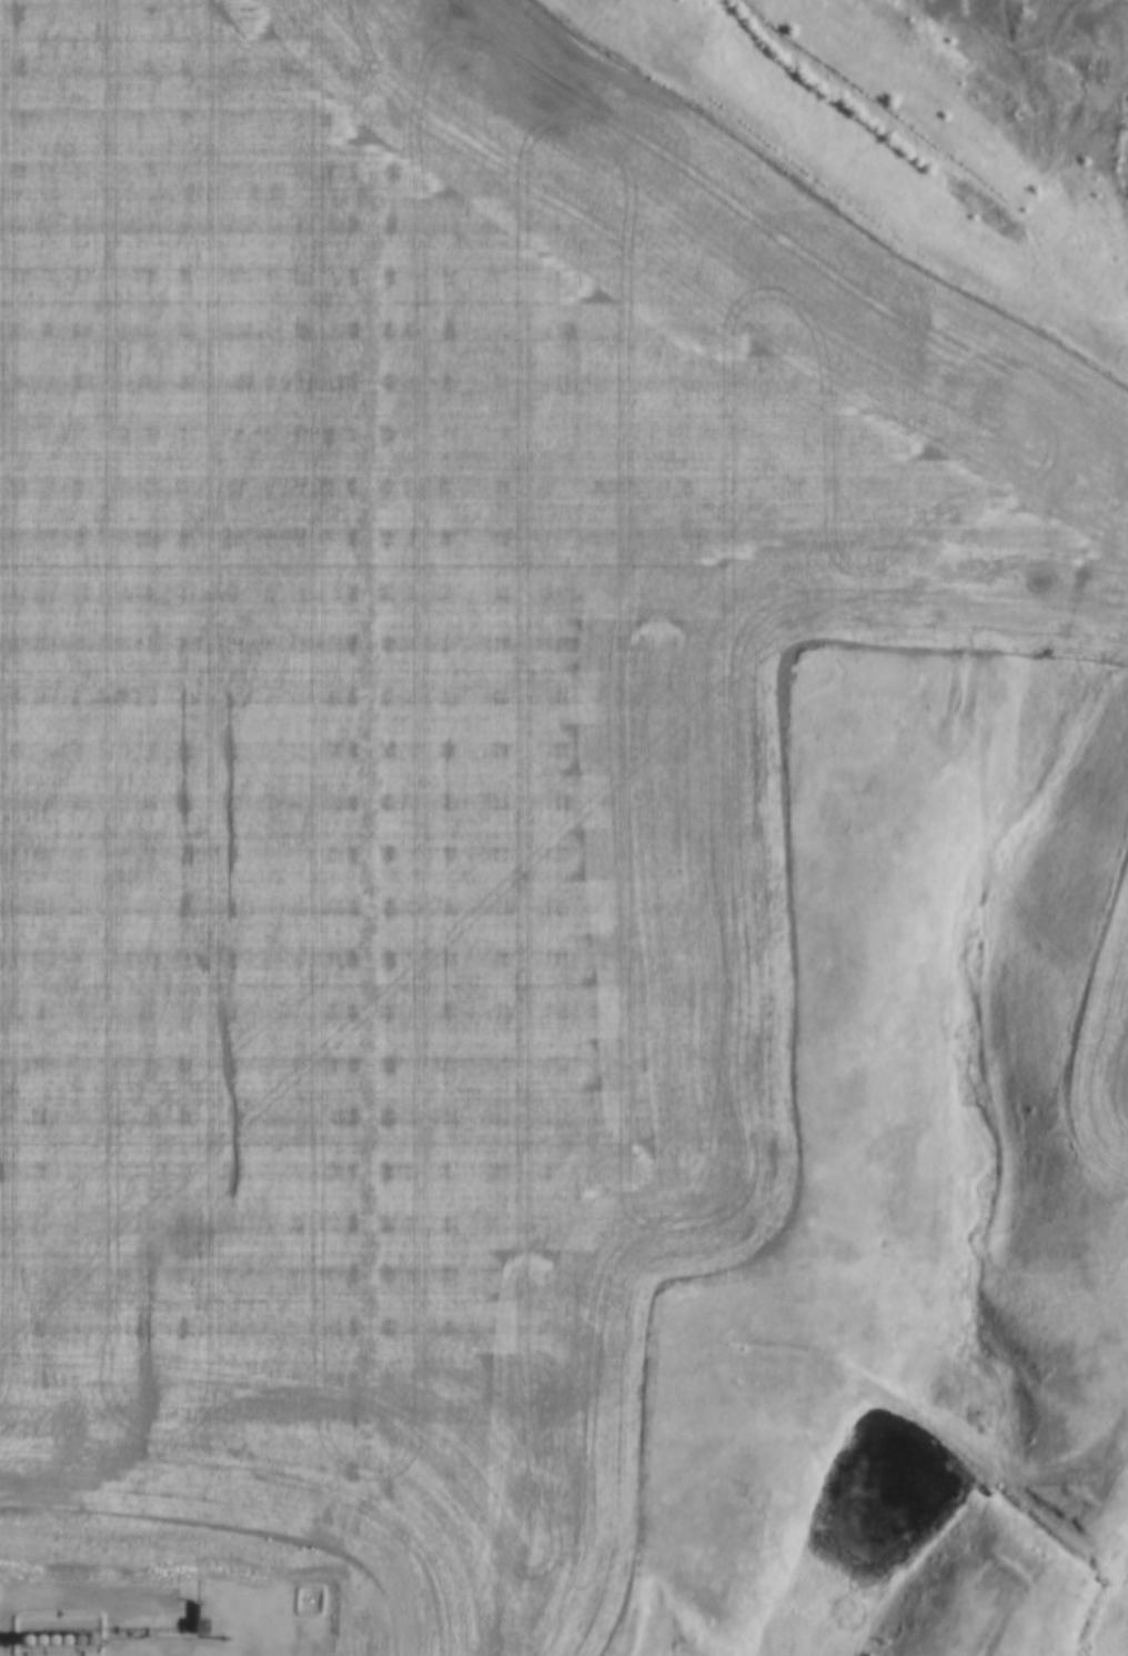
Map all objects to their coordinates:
quarry: (986, 102)

